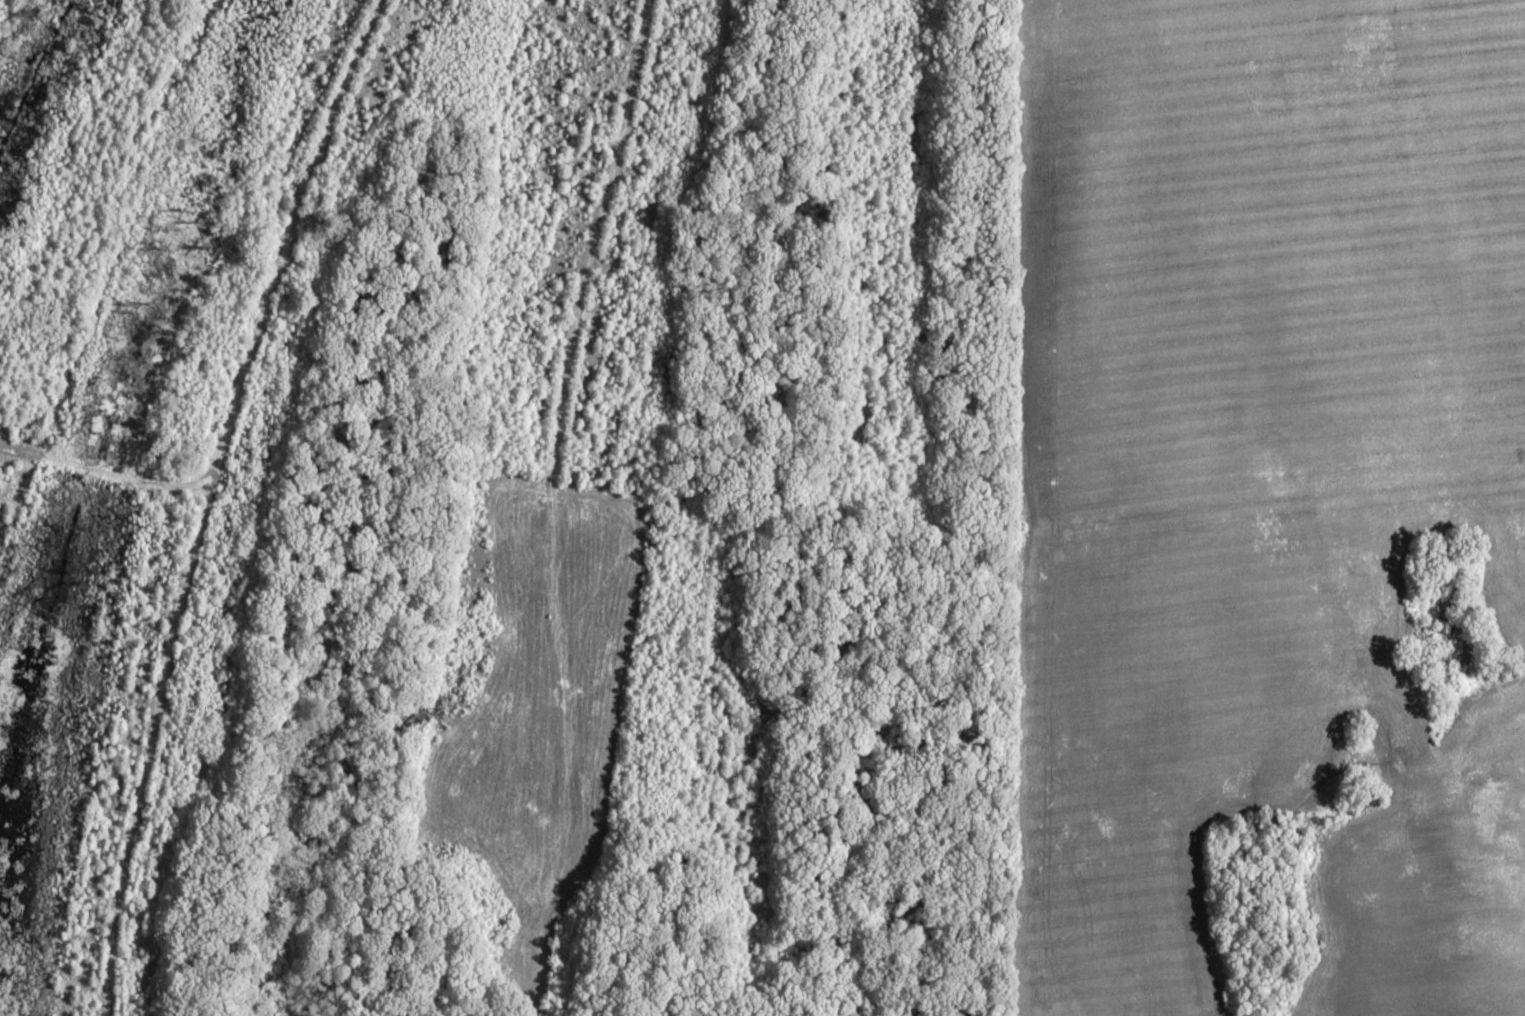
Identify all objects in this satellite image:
road: (1449, 333)

